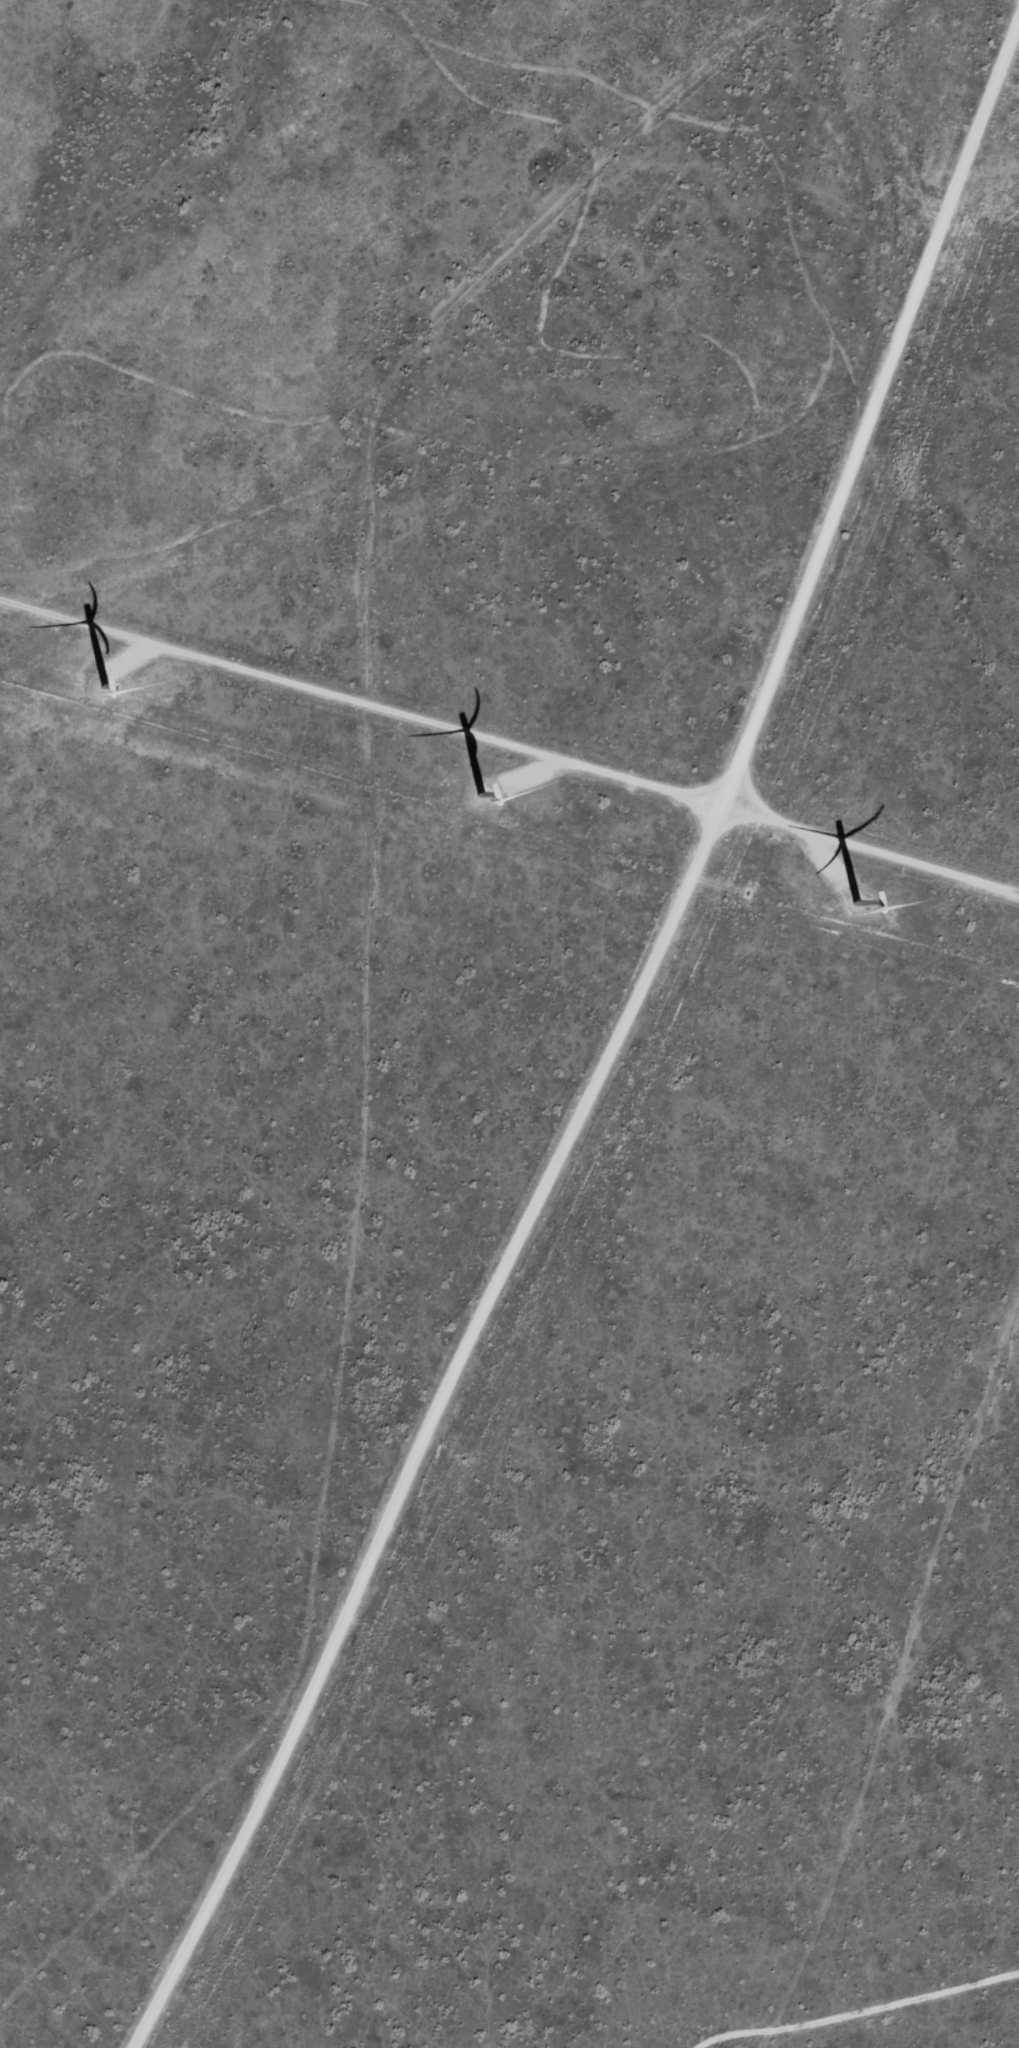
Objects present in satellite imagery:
wind turbine: (68, 688)
wind turbine: (448, 772)
wind turbine: (823, 917)
road: (373, 974)

